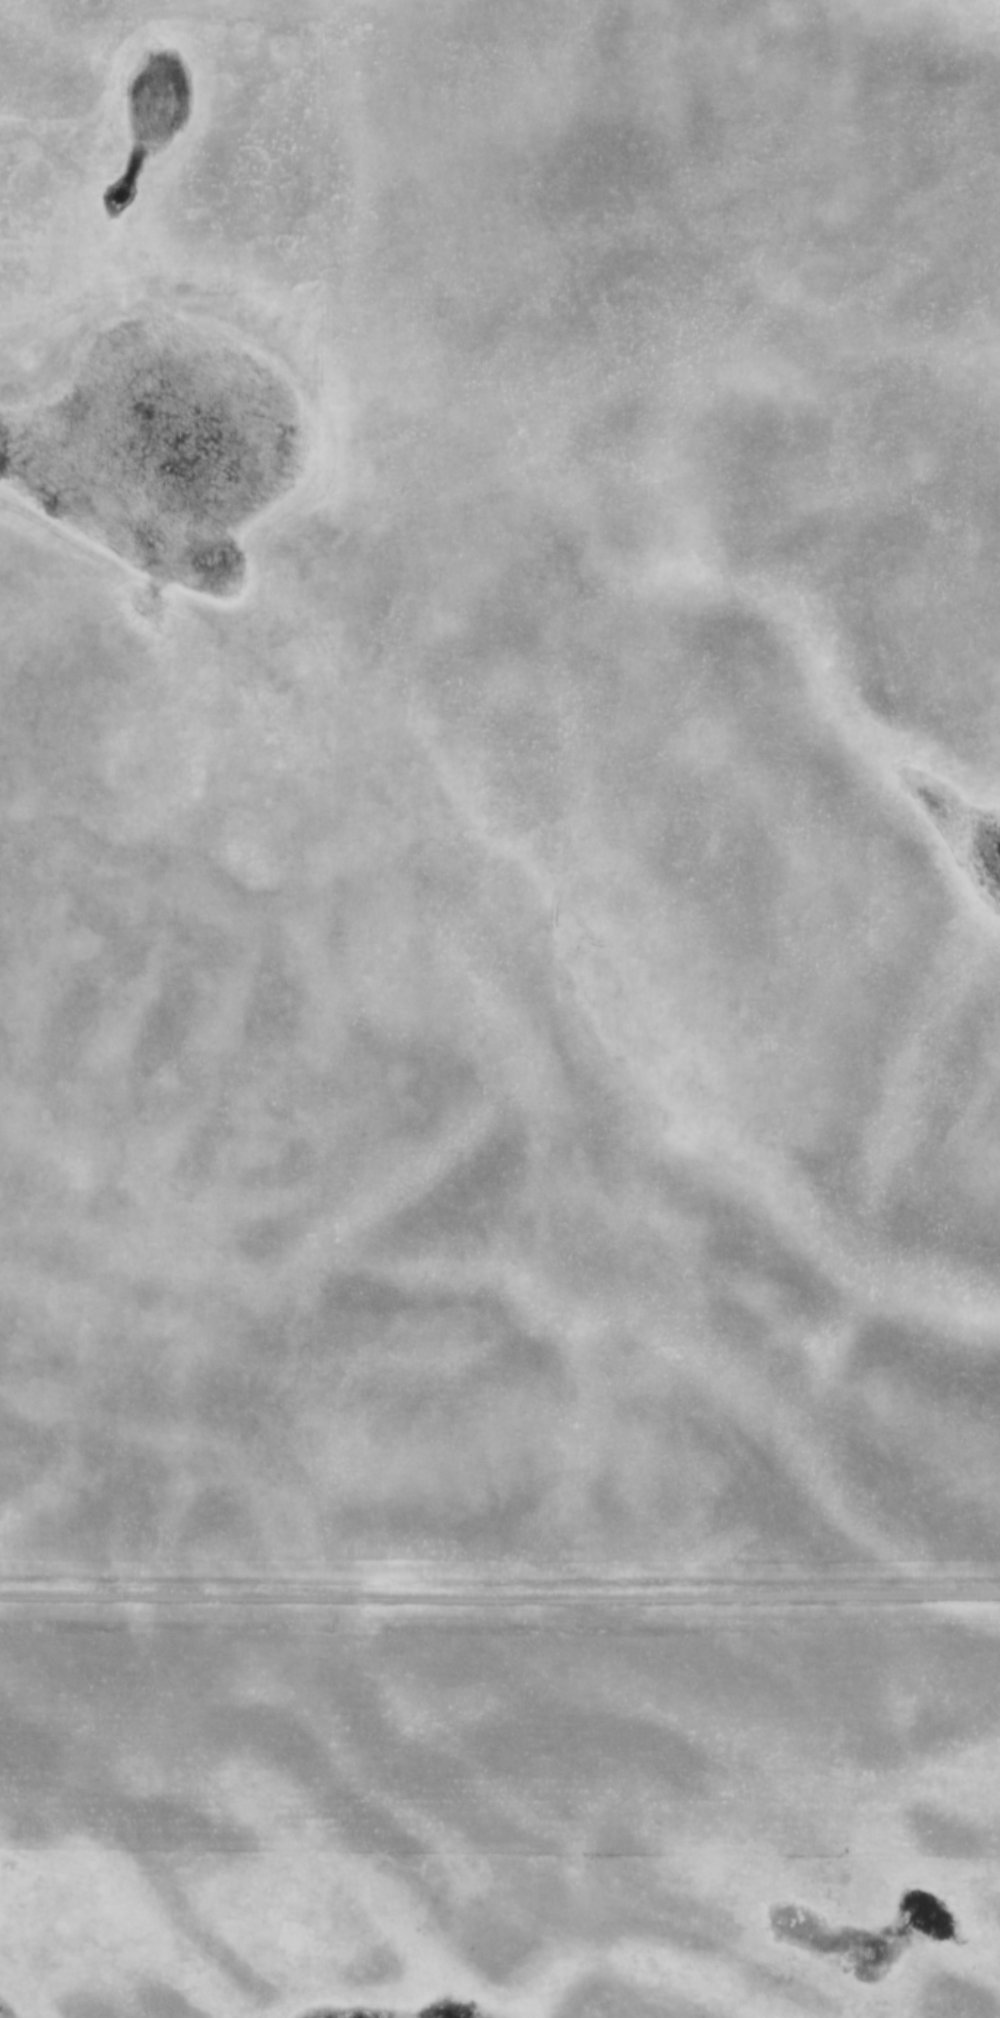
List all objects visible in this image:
road: (500, 1600)

